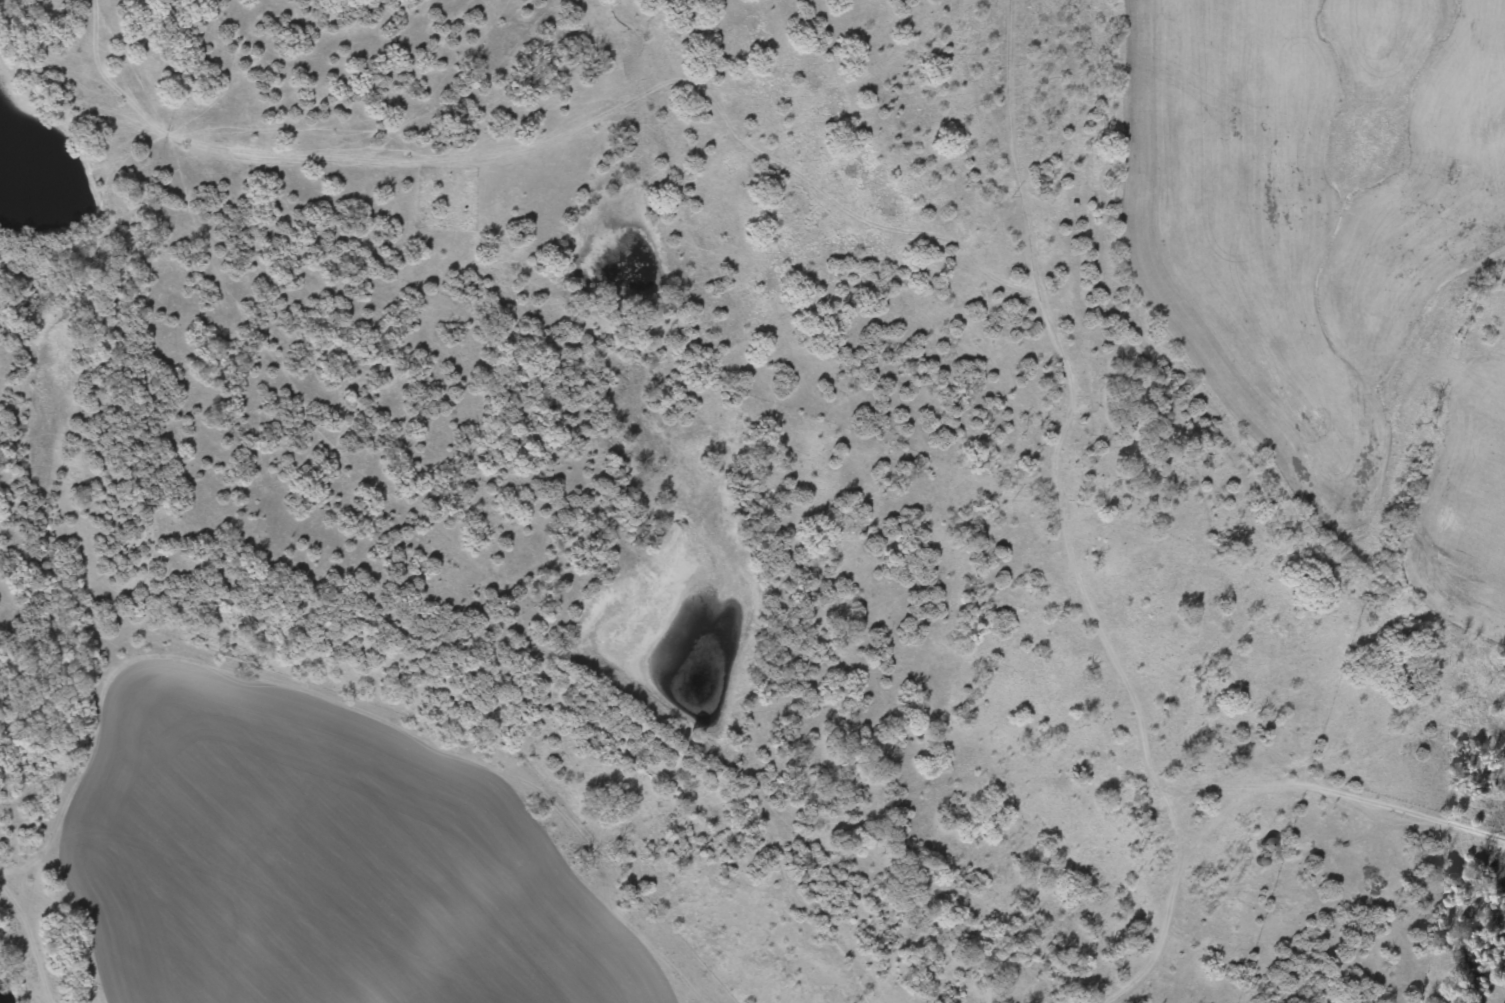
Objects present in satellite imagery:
road: (1377, 833)

